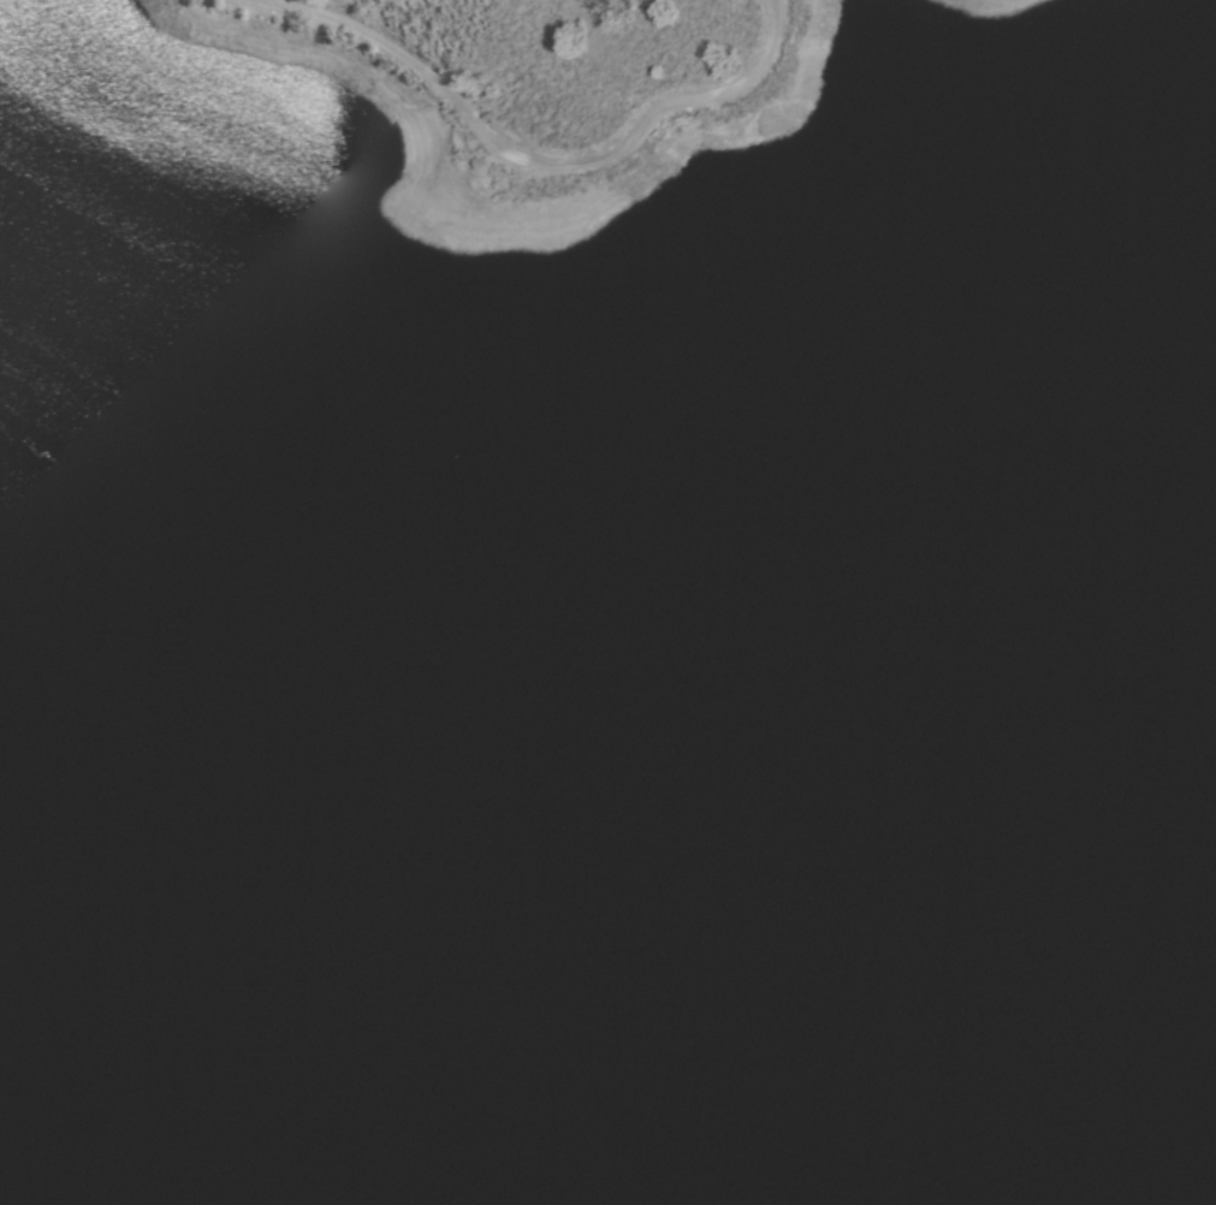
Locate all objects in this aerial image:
road: (547, 150)

